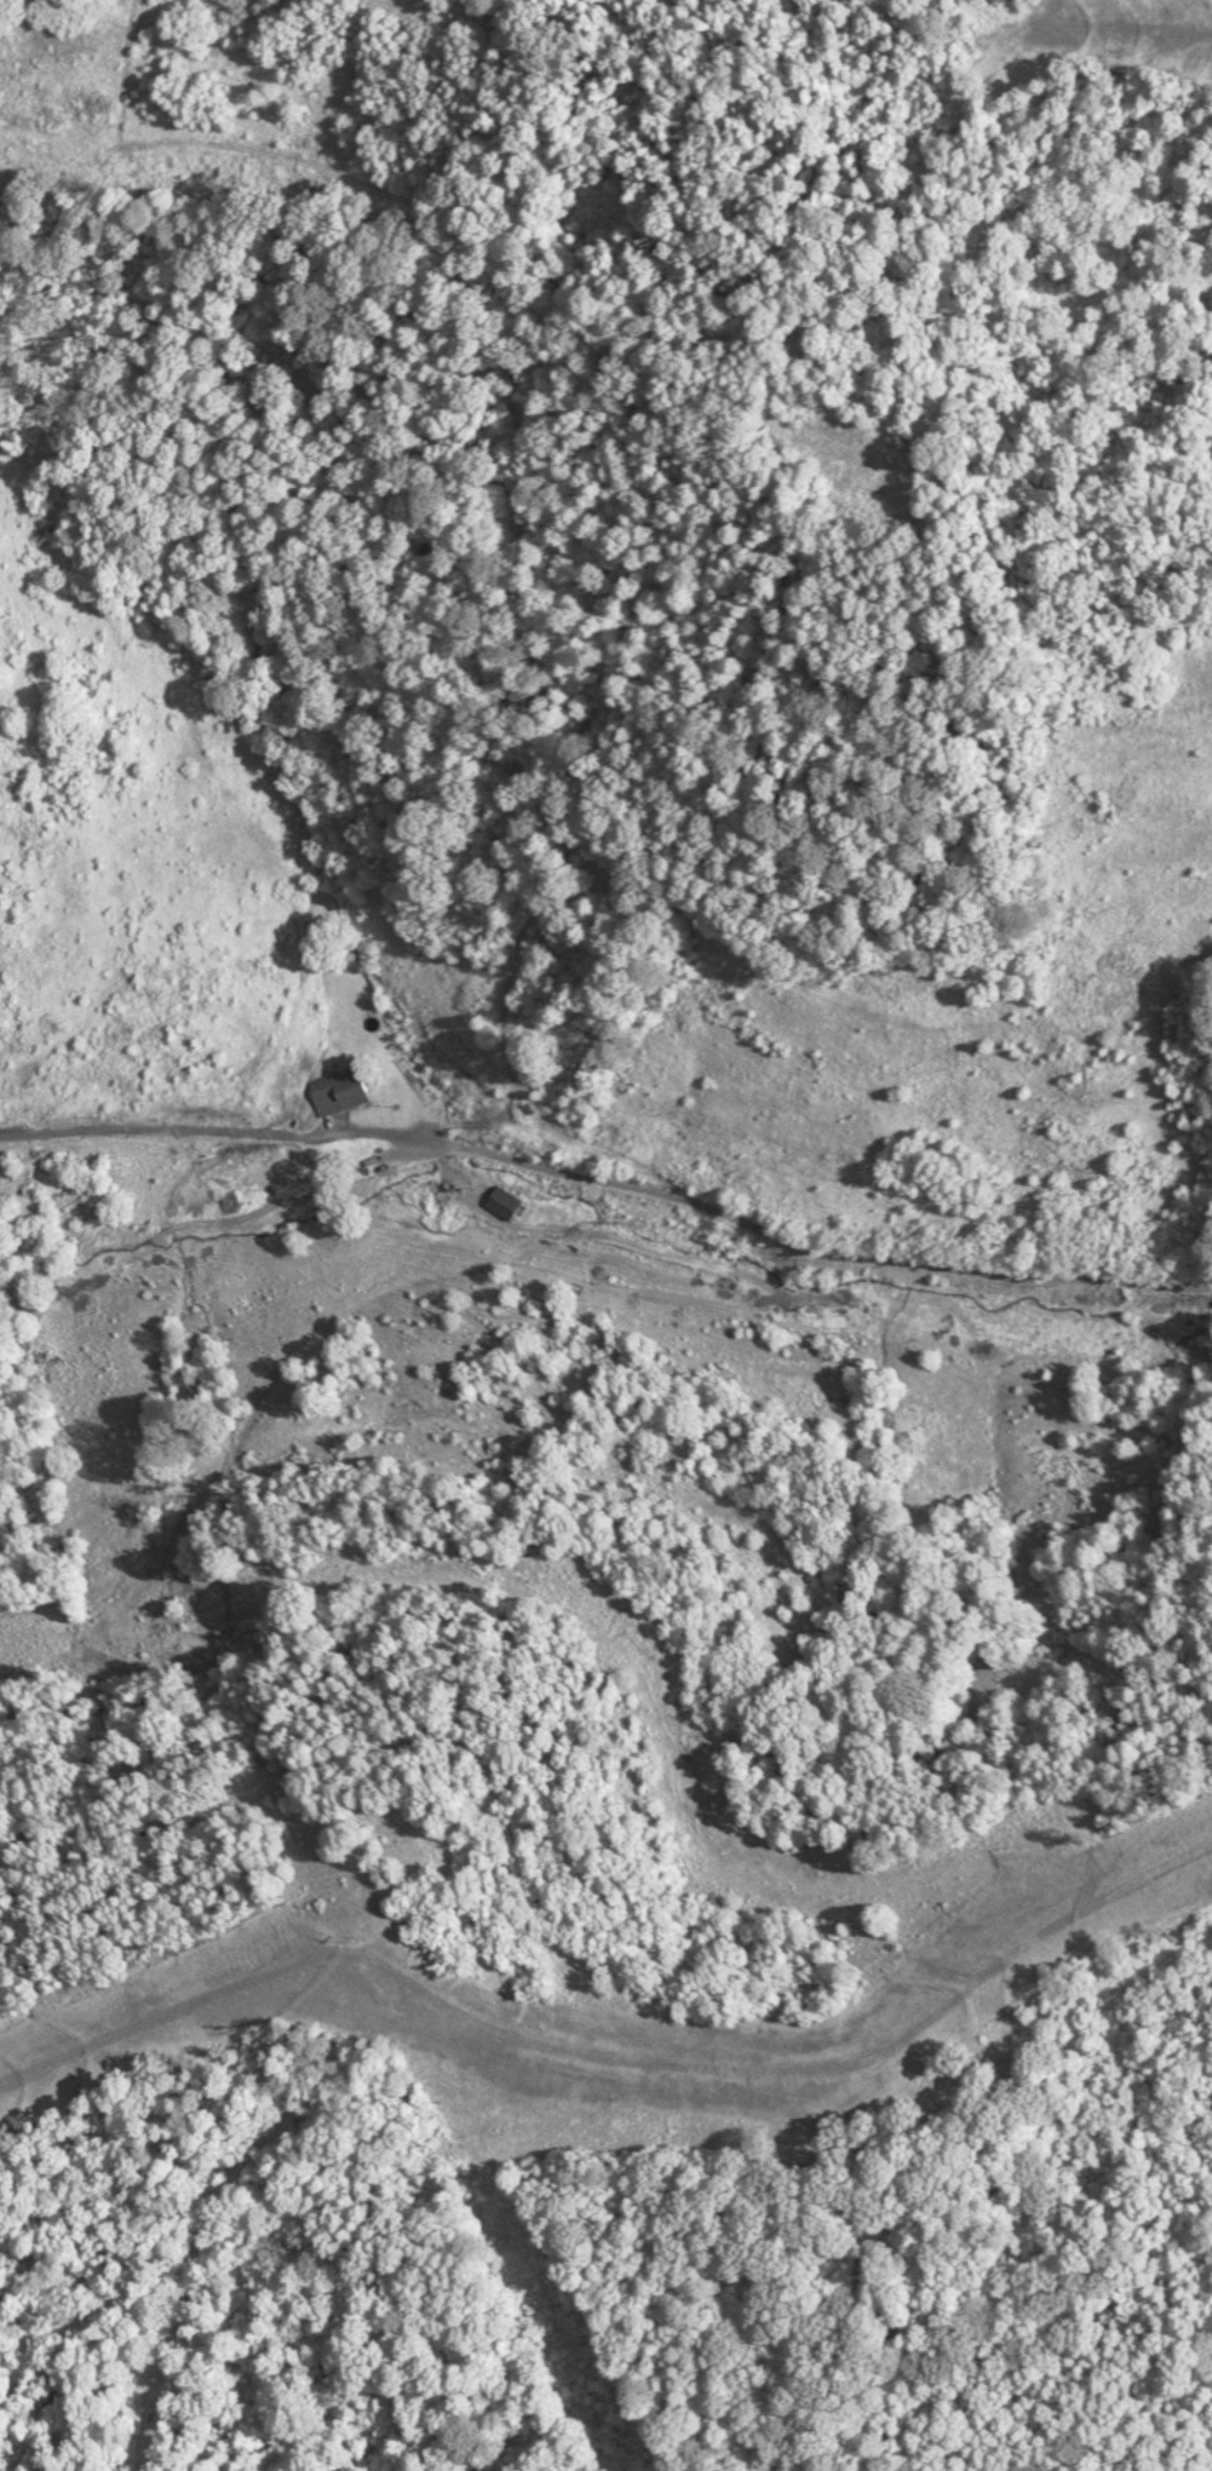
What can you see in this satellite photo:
building: (333, 1088)
building: (374, 1160)
building: (488, 1194)
road: (605, 1218)

